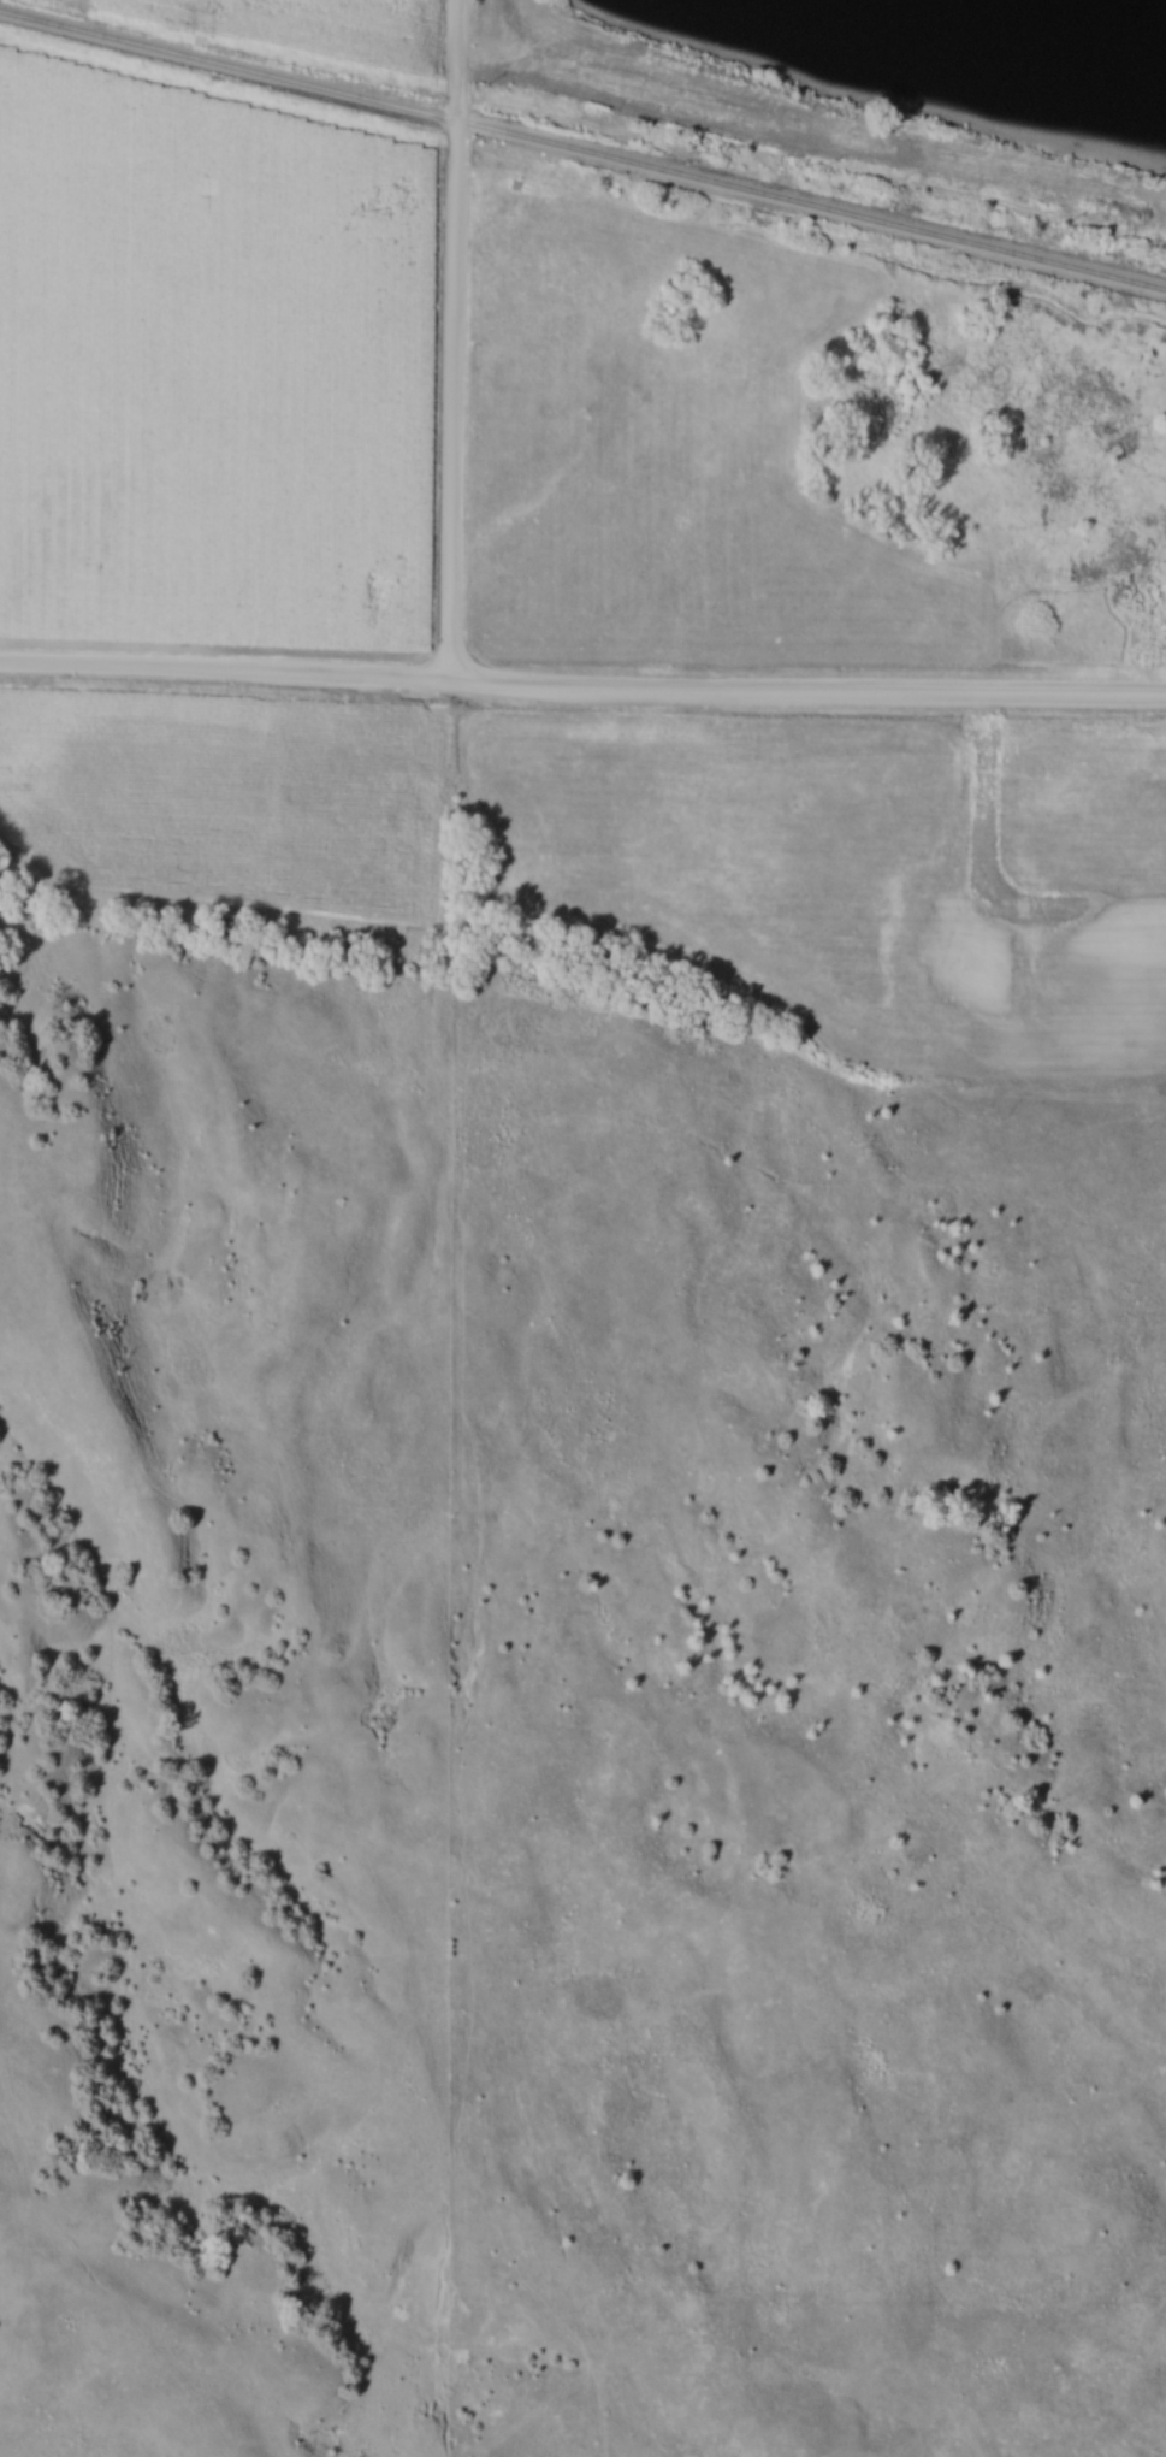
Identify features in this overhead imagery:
road: (456, 60)
railway: (582, 150)
road: (452, 401)
road: (582, 691)

